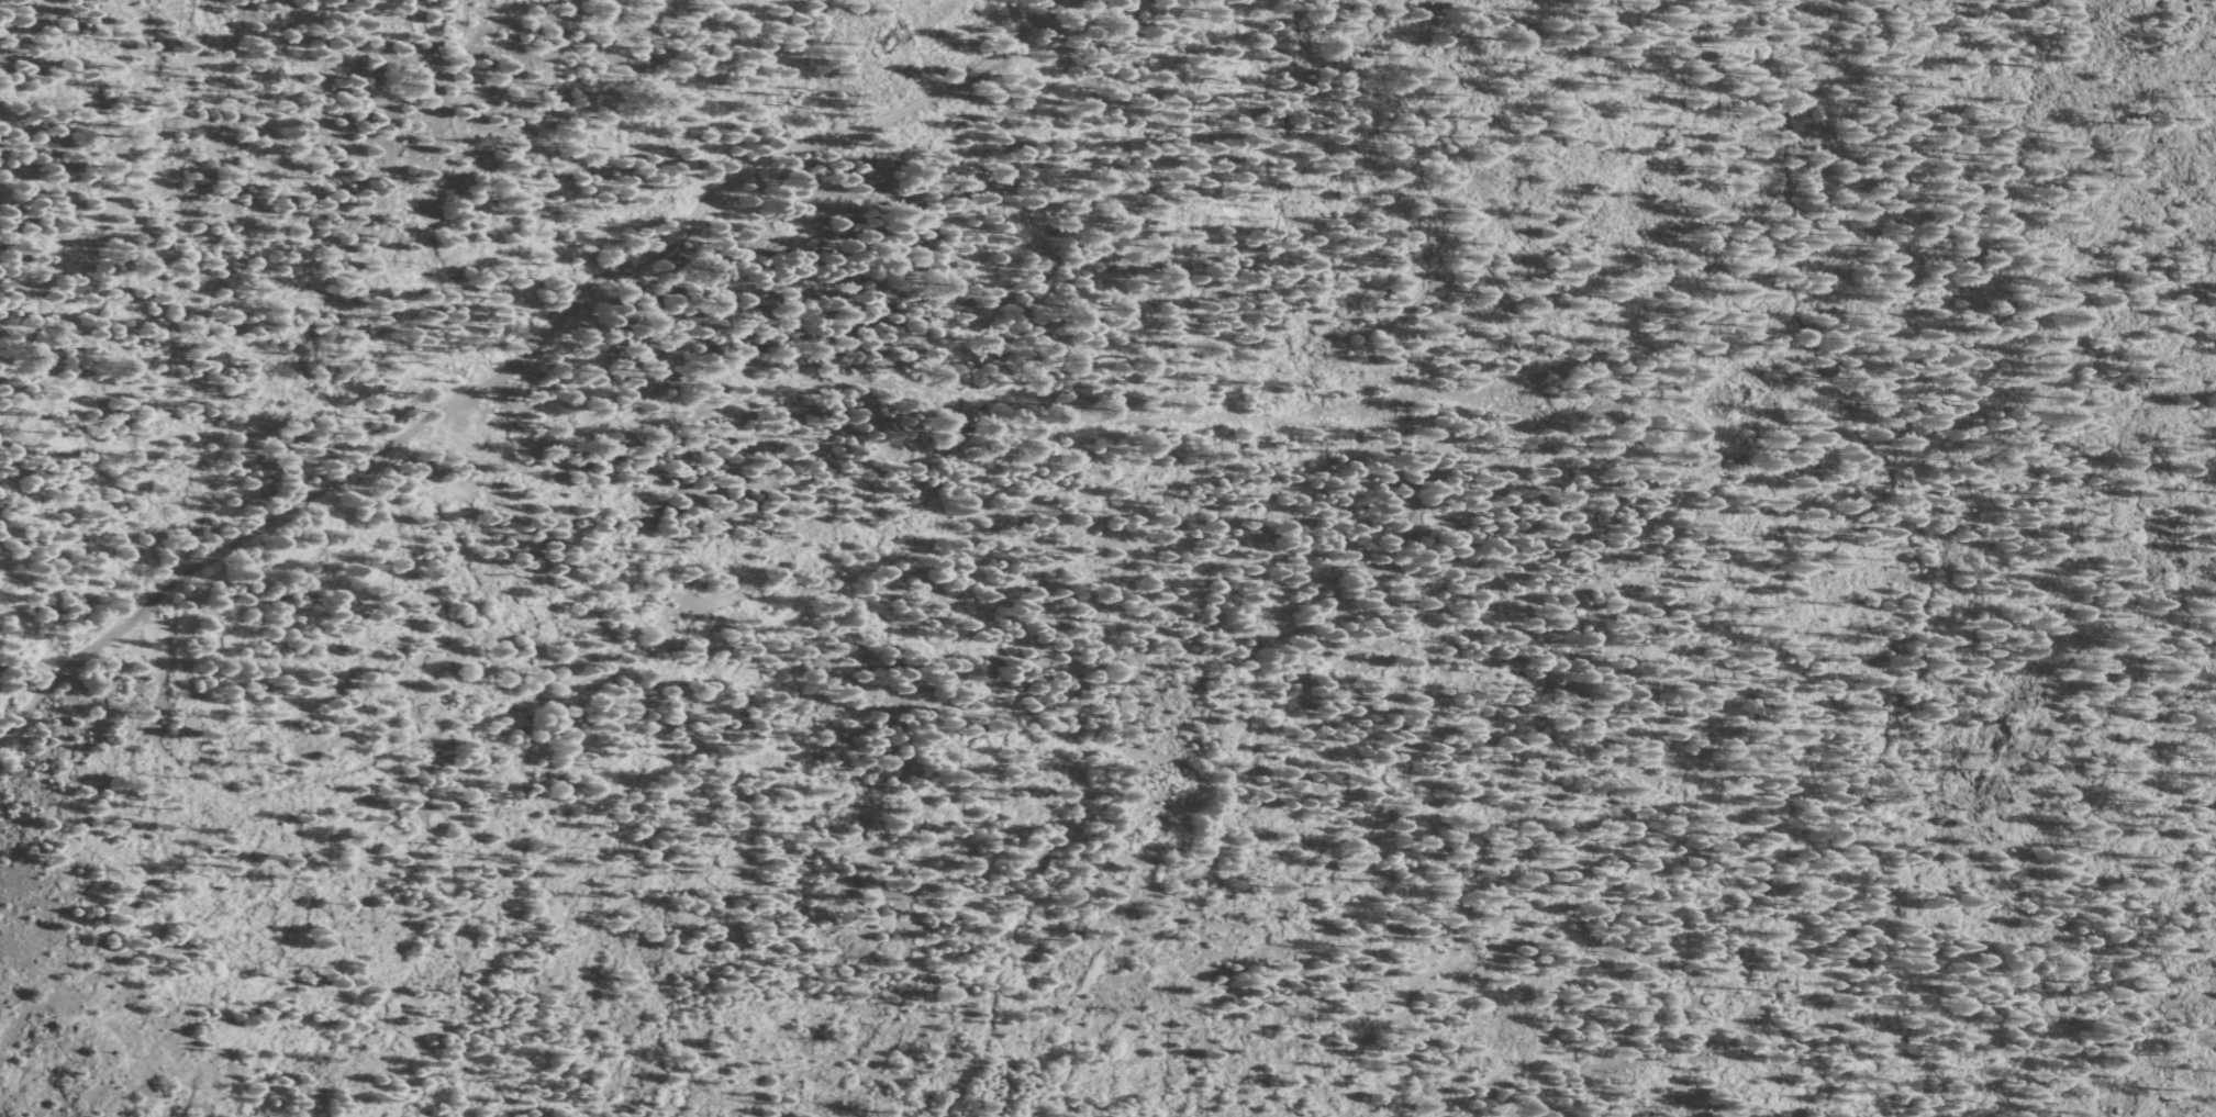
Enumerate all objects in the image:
road: (490, 314)

